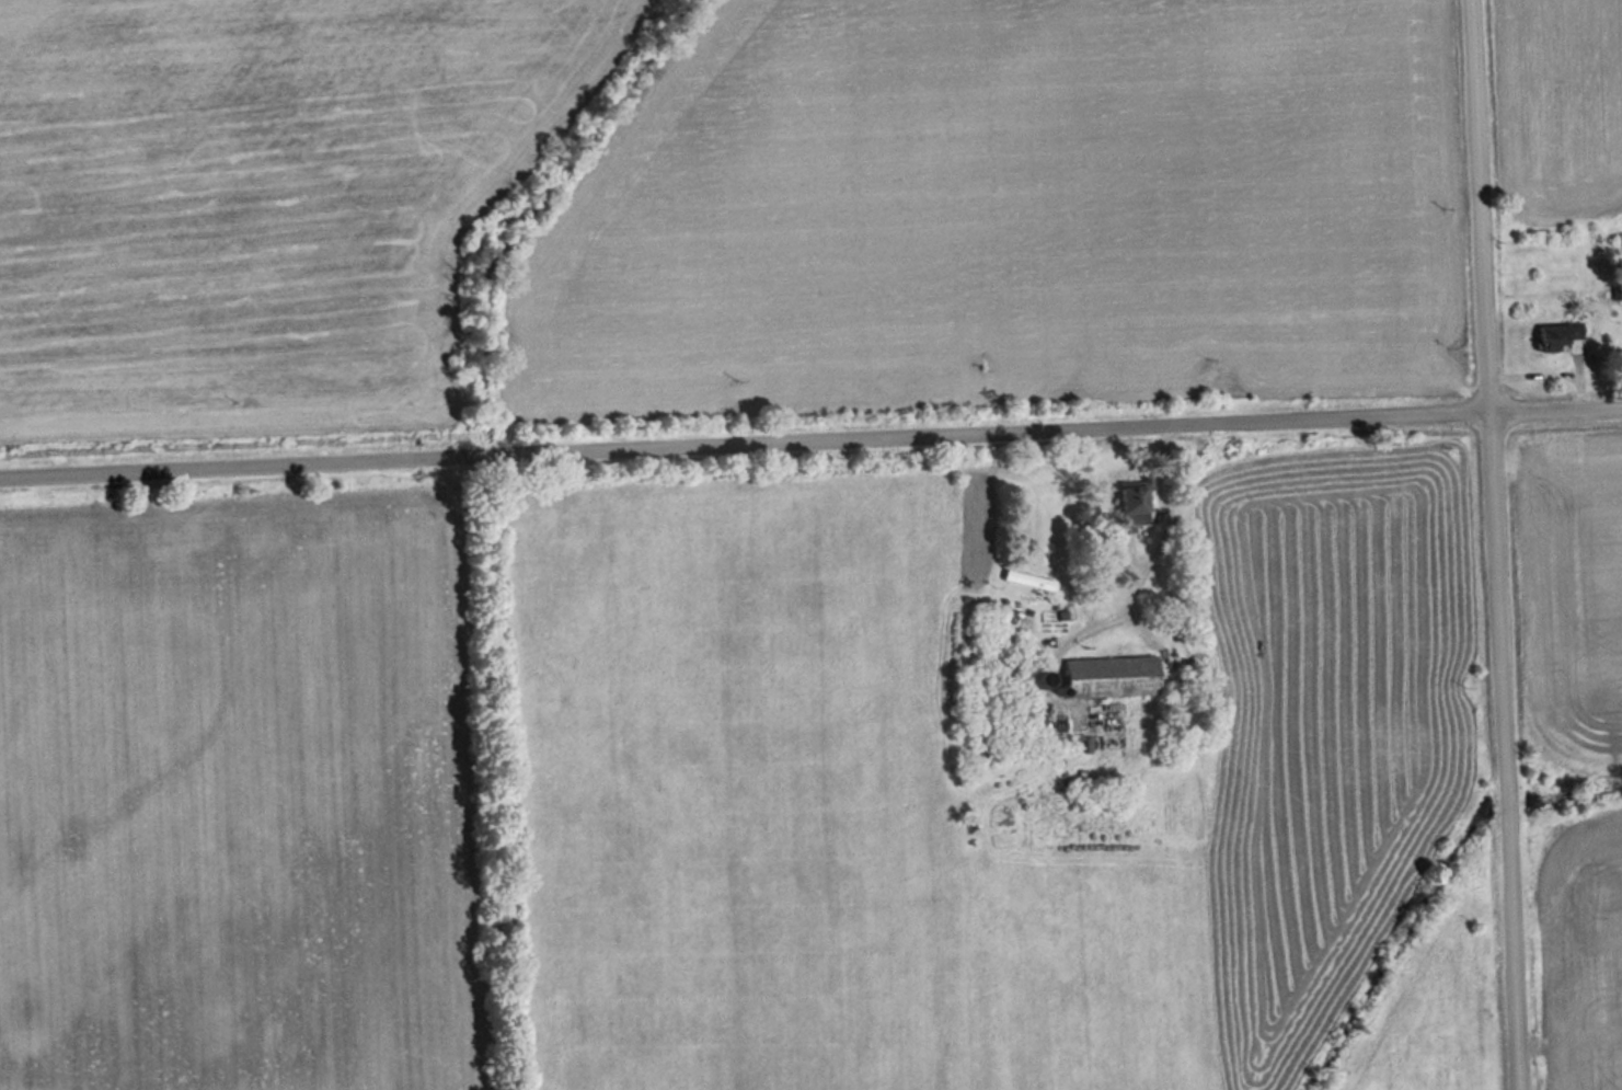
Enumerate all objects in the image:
building: (1560, 336)
road: (810, 441)
building: (1134, 506)
road: (1488, 544)
building: (1112, 677)

